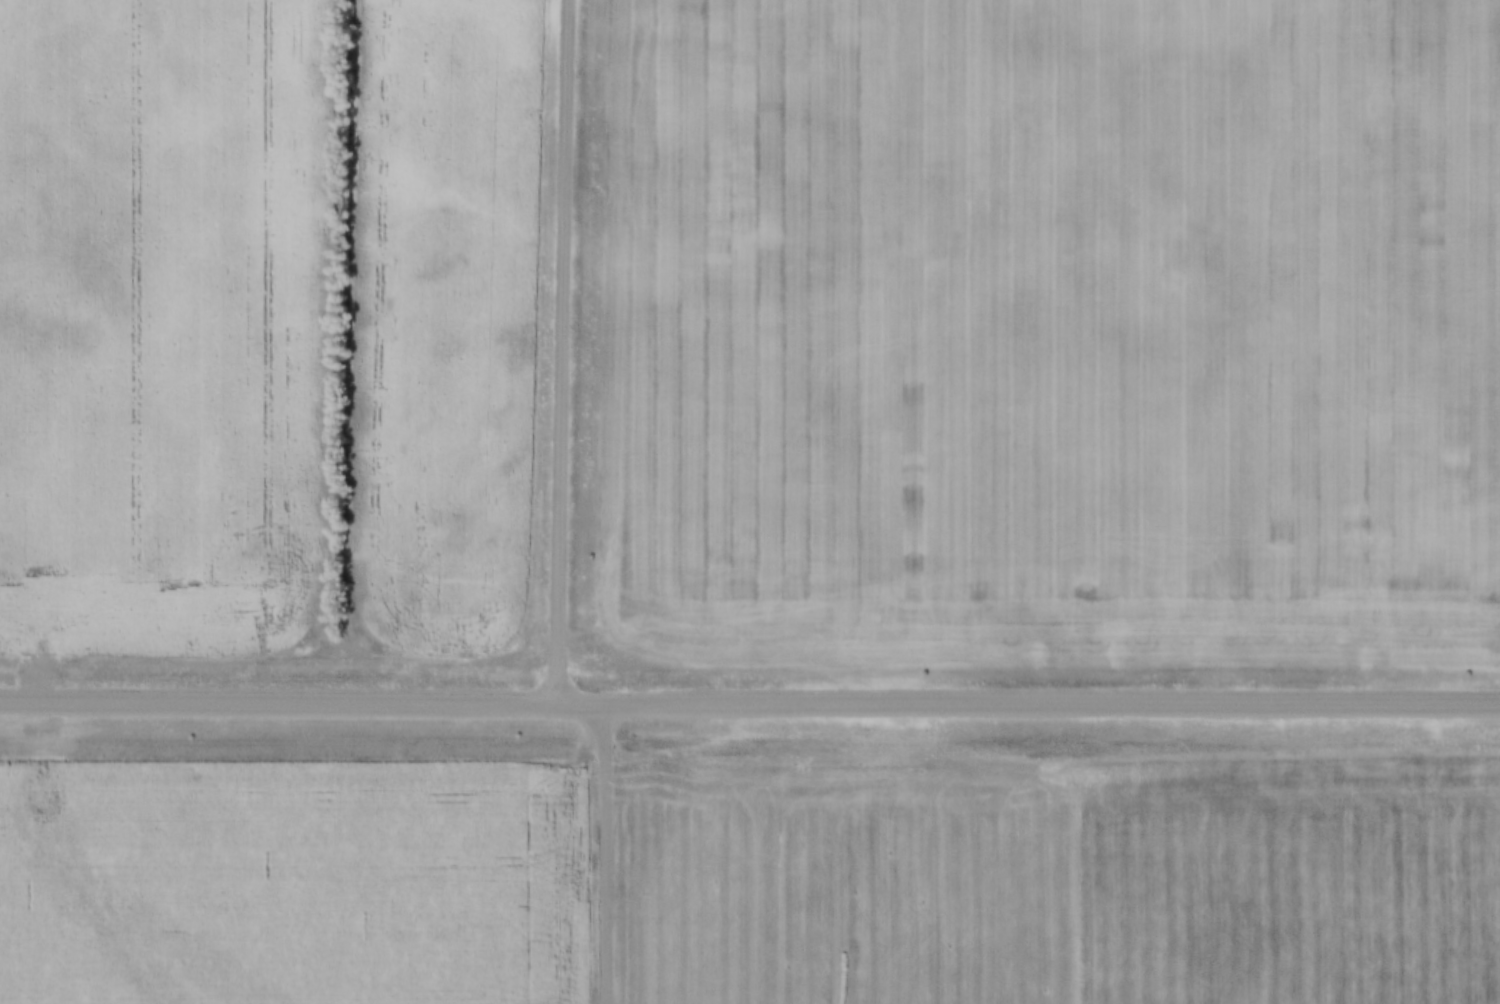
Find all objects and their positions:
road: (566, 351)
road: (749, 704)

